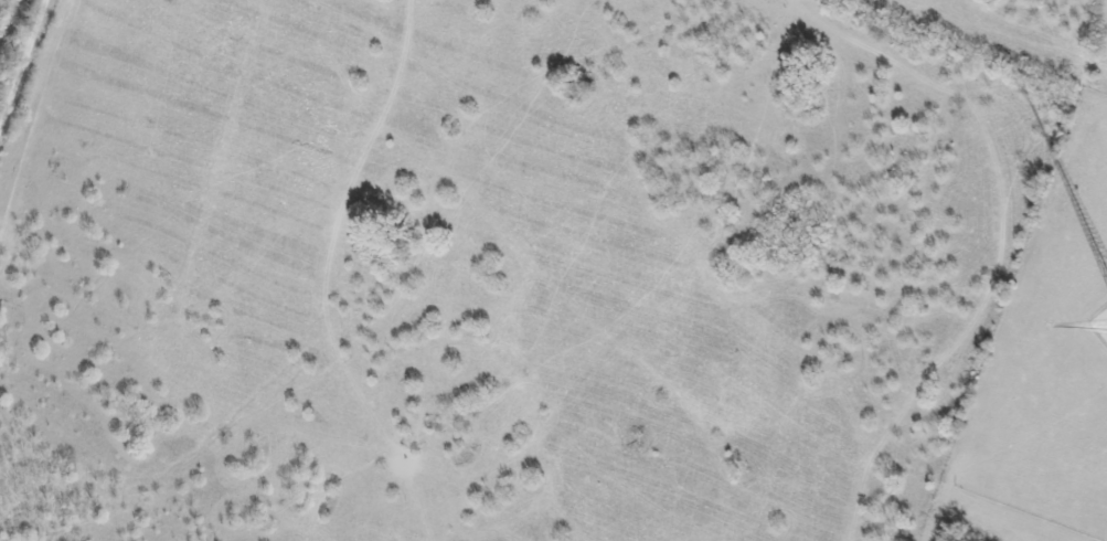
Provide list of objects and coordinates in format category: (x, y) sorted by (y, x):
road: (967, 50)
road: (19, 54)

